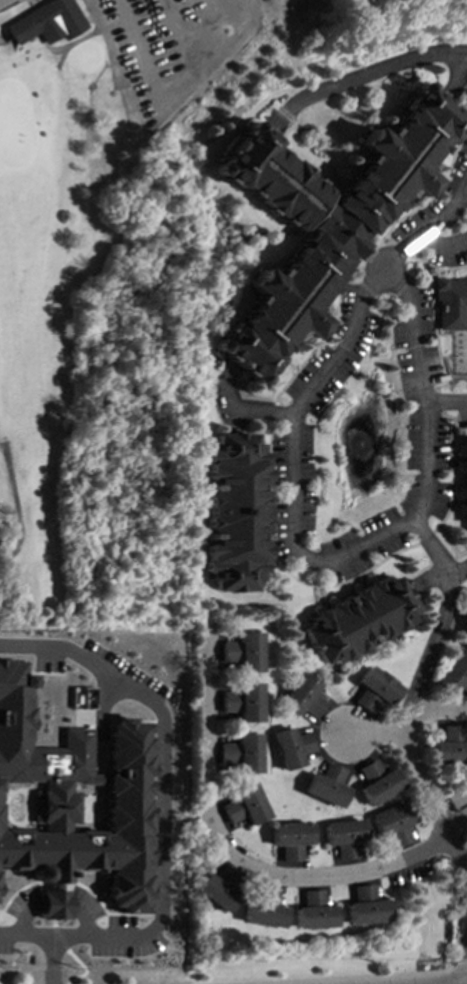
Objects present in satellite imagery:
parking lot: (172, 4)
building: (46, 22)
road: (4, 39)
road: (75, 41)
road: (107, 43)
road: (374, 70)
building: (322, 219)
road: (428, 227)
park: (121, 271)
building: (452, 303)
road: (449, 402)
road: (261, 410)
building: (465, 478)
road: (15, 505)
building: (234, 511)
road: (9, 538)
road: (337, 556)
building: (357, 618)
building: (242, 651)
building: (454, 673)
building: (375, 689)
road: (417, 695)
building: (84, 696)
building: (302, 696)
building: (242, 701)
road: (440, 711)
road: (379, 735)
building: (291, 746)
building: (450, 746)
building: (241, 752)
road: (164, 780)
building: (376, 782)
building: (326, 784)
building: (75, 803)
building: (244, 804)
building: (393, 822)
road: (458, 831)
building: (345, 836)
building: (290, 838)
road: (234, 854)
building: (217, 888)
building: (365, 905)
building: (263, 908)
building: (313, 911)
road: (26, 935)
road: (53, 960)
road: (458, 966)
road: (338, 977)
road: (2, 983)

